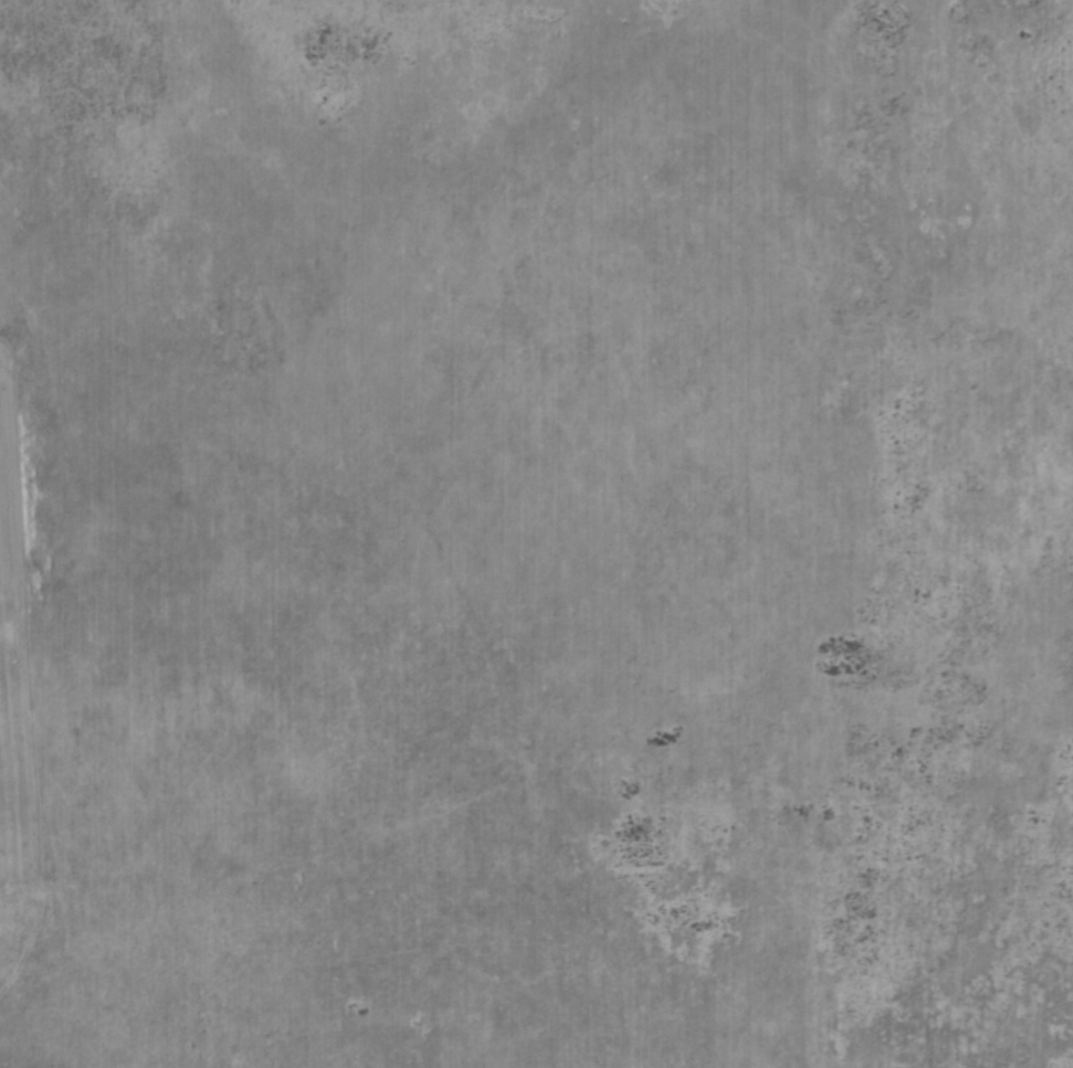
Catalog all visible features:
road: (954, 533)

